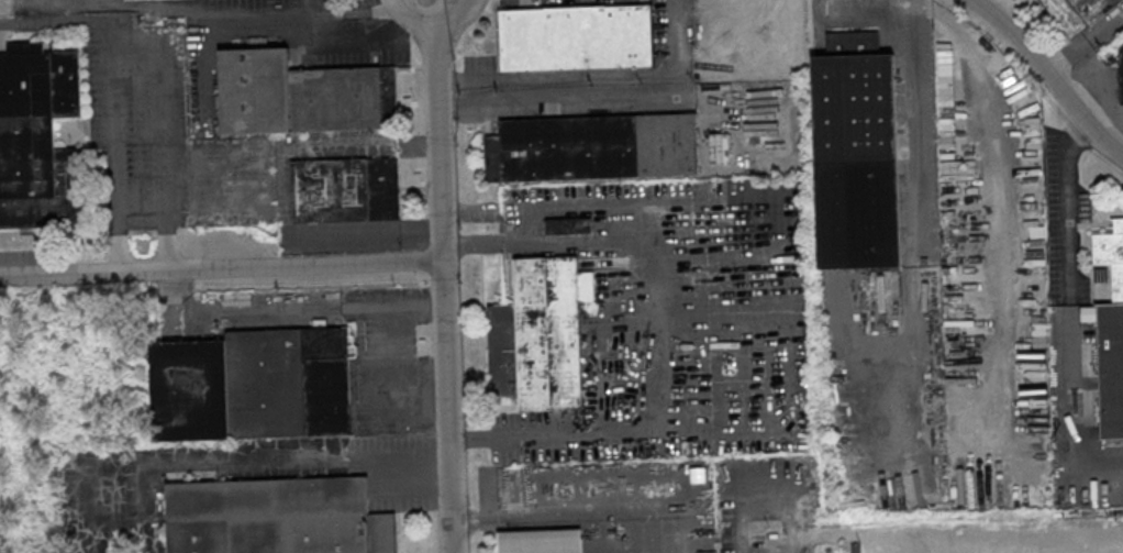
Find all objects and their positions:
road: (93, 1)
road: (458, 1)
road: (46, 4)
road: (994, 5)
road: (359, 8)
building: (1077, 13)
road: (314, 14)
road: (447, 18)
road: (416, 20)
road: (263, 21)
road: (55, 22)
road: (1105, 26)
building: (574, 36)
road: (1065, 55)
building: (1121, 74)
road: (1048, 78)
road: (594, 93)
building: (302, 95)
road: (912, 112)
road: (165, 128)
building: (37, 136)
building: (596, 146)
road: (116, 147)
building: (854, 152)
building: (345, 189)
road: (1066, 200)
building: (568, 225)
road: (220, 268)
road: (442, 292)
road: (279, 310)
building: (538, 334)
road: (767, 334)
building: (1110, 334)
road: (394, 350)
building: (253, 385)
road: (1070, 397)
road: (293, 457)
road: (92, 485)
road: (142, 507)
road: (551, 507)
road: (777, 511)
building: (276, 517)
road: (743, 532)
parking lot: (753, 539)
building: (541, 542)
road: (790, 543)
road: (622, 549)

